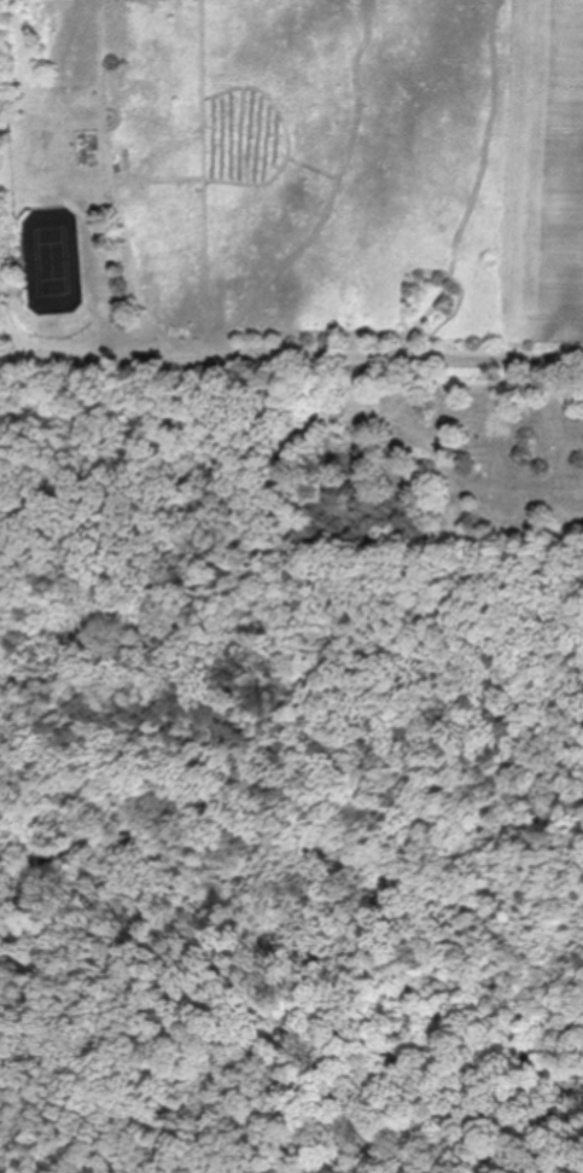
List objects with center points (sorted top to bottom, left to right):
crop: (387, 179)
road: (290, 355)

